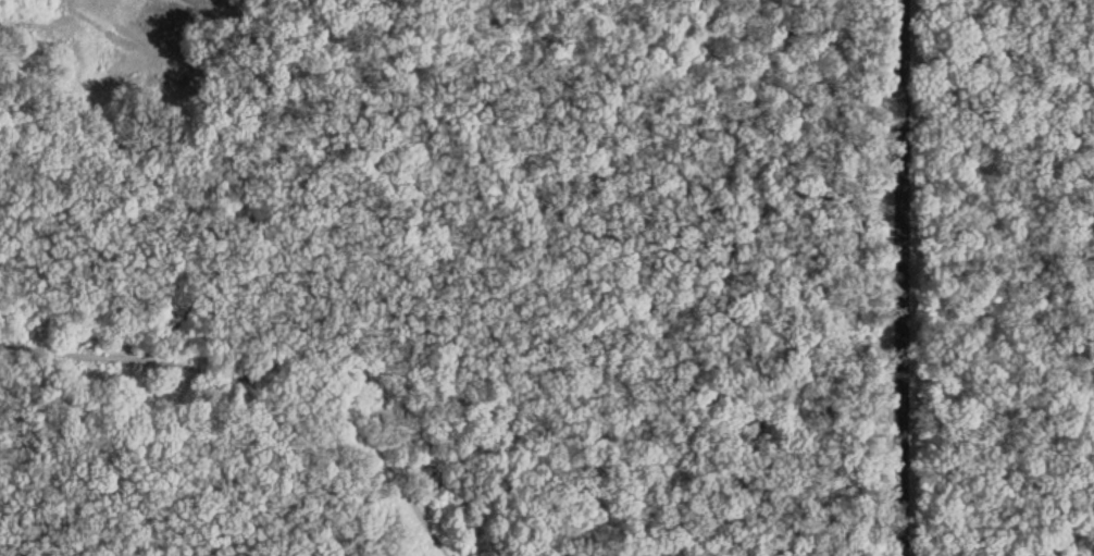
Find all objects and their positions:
road: (897, 277)

